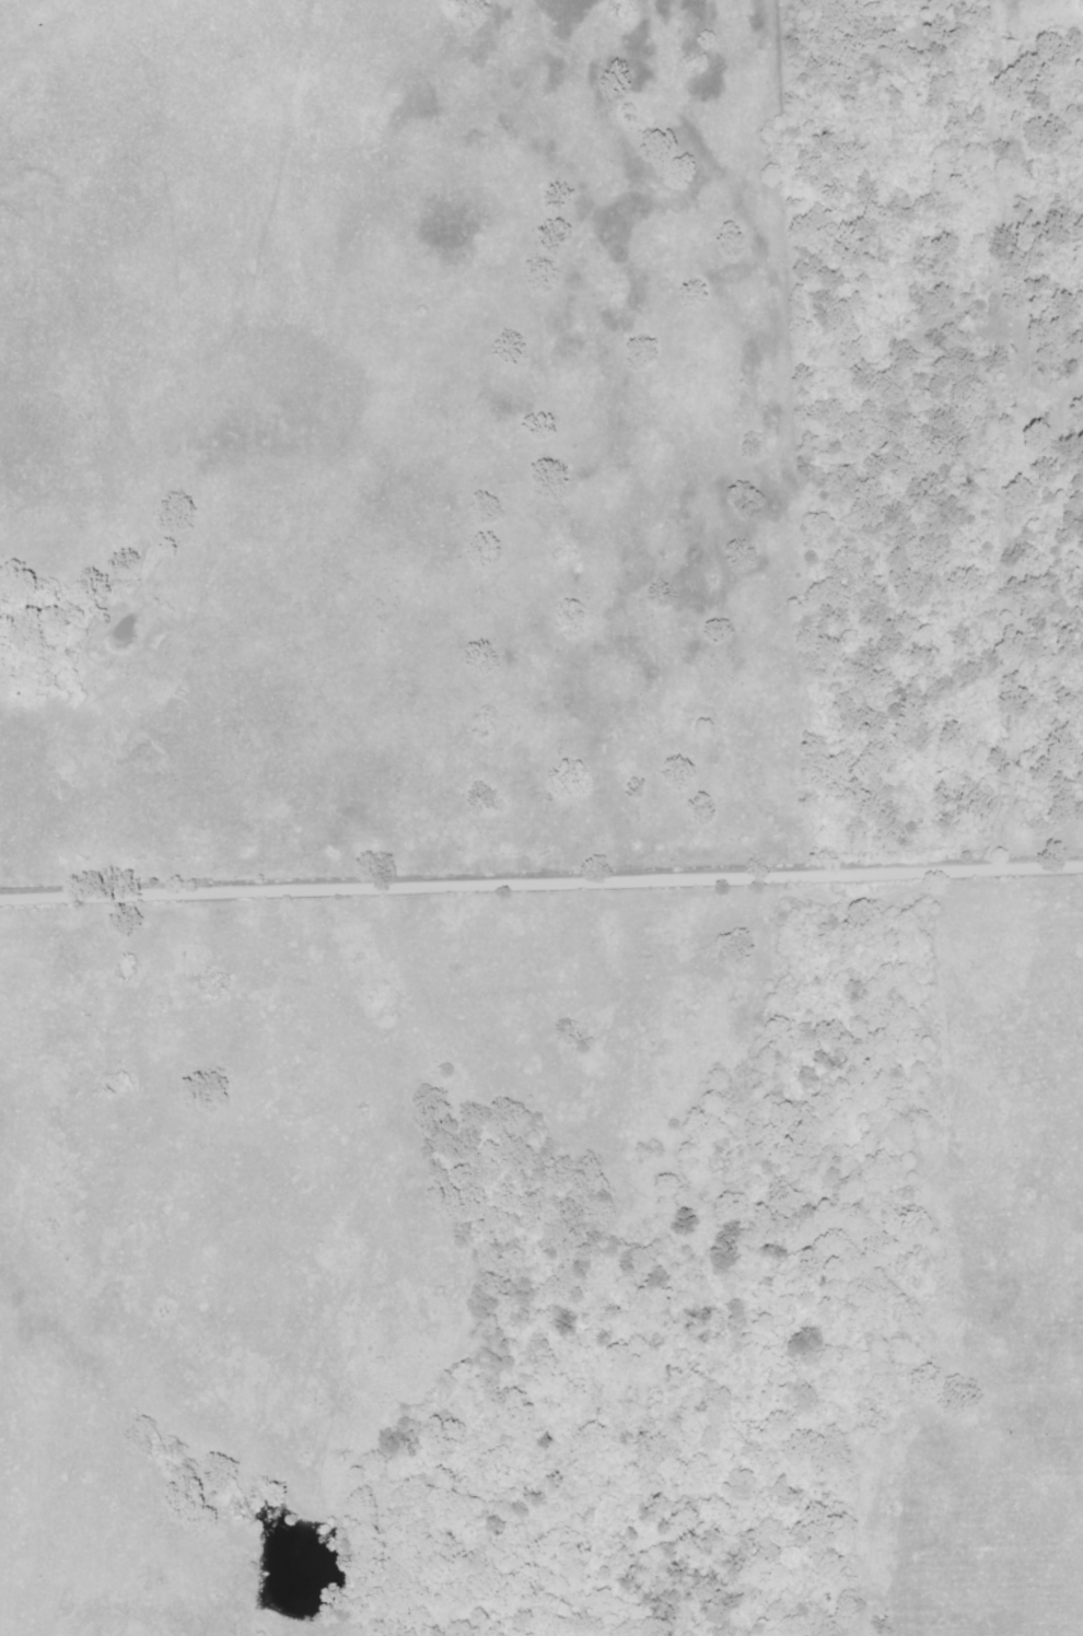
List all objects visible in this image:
road: (540, 860)

